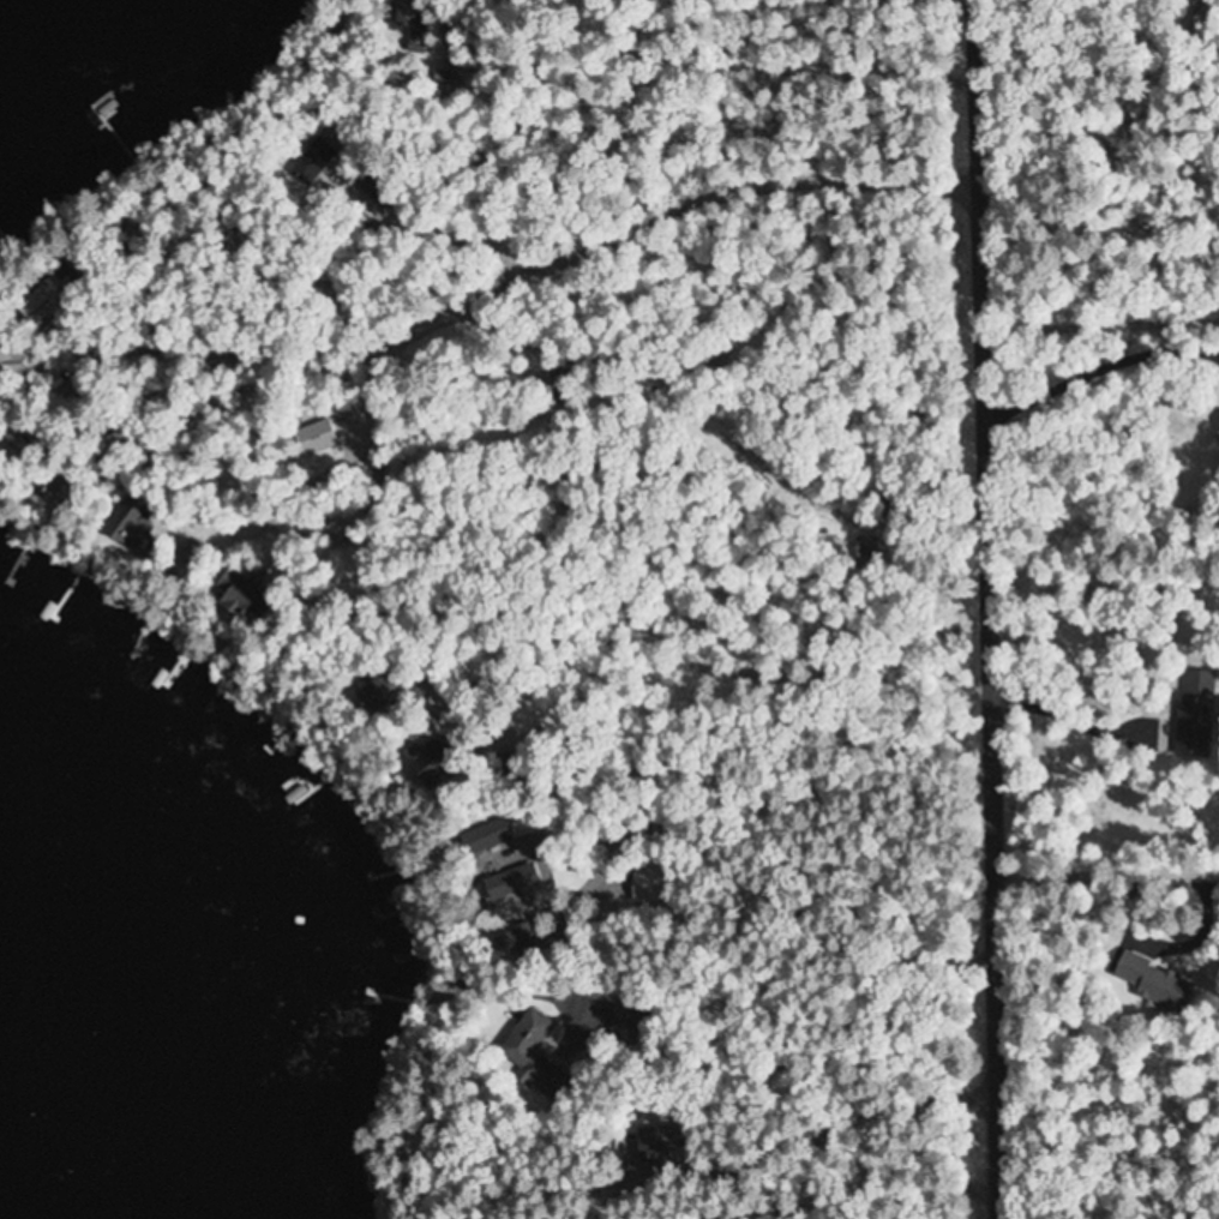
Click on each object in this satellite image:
building: (415, 23)
building: (450, 84)
building: (318, 157)
road: (552, 266)
building: (48, 302)
building: (16, 361)
building: (564, 384)
building: (316, 438)
building: (58, 490)
building: (120, 527)
building: (344, 564)
building: (234, 593)
road: (996, 608)
building: (372, 695)
building: (1195, 713)
building: (422, 759)
building: (484, 836)
road: (1110, 875)
building: (506, 882)
building: (1152, 980)
building: (626, 1022)
building: (529, 1050)
building: (660, 1140)

